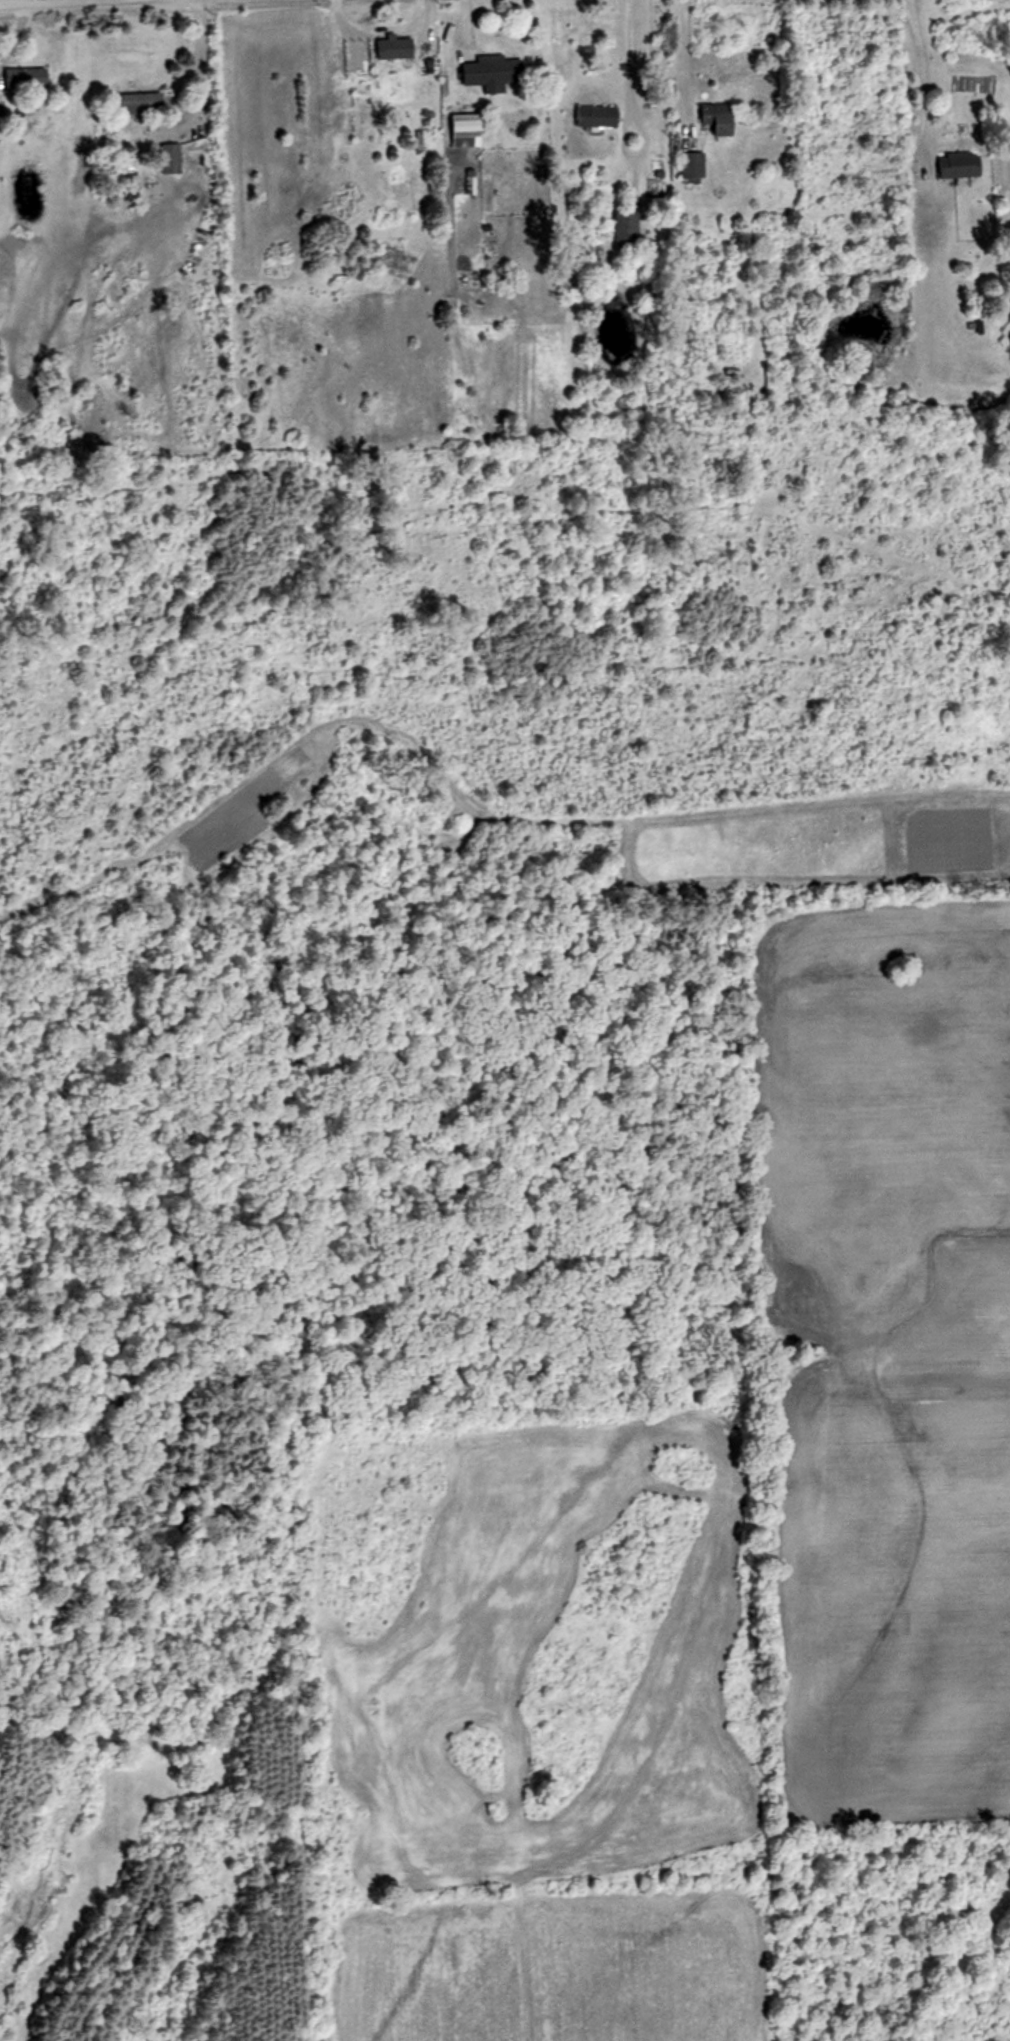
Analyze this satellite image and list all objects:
road: (132, 0)
road: (8, 3)
road: (77, 3)
building: (396, 47)
road: (630, 55)
road: (680, 58)
road: (202, 73)
building: (490, 73)
road: (919, 76)
building: (27, 79)
building: (143, 105)
building: (598, 116)
building: (722, 117)
building: (469, 125)
road: (634, 152)
building: (172, 159)
building: (962, 164)
building: (694, 167)

